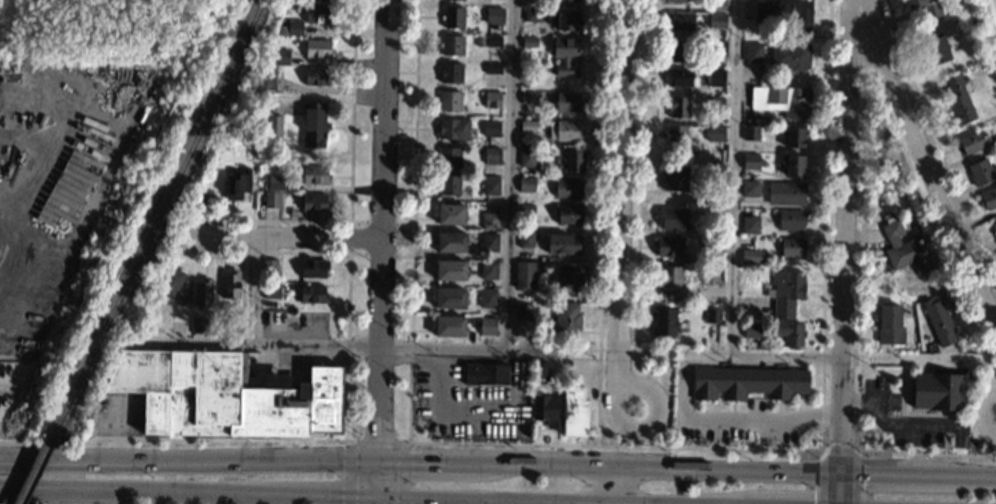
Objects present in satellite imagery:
building: (462, 0)
building: (570, 0)
building: (678, 1)
road: (514, 2)
building: (717, 5)
building: (298, 6)
building: (926, 7)
building: (319, 13)
building: (786, 13)
building: (533, 14)
building: (493, 15)
building: (453, 17)
building: (563, 18)
building: (717, 19)
building: (681, 20)
building: (295, 27)
road: (384, 36)
building: (493, 41)
building: (530, 42)
building: (940, 42)
building: (452, 45)
building: (318, 48)
building: (717, 48)
building: (679, 50)
building: (753, 52)
building: (565, 54)
building: (278, 56)
building: (790, 56)
building: (493, 67)
building: (450, 73)
building: (680, 76)
building: (318, 77)
building: (717, 77)
building: (265, 79)
building: (529, 98)
building: (492, 99)
building: (450, 100)
building: (782, 100)
building: (568, 102)
building: (716, 102)
building: (959, 102)
building: (678, 106)
building: (315, 124)
building: (274, 125)
building: (528, 125)
building: (491, 127)
building: (454, 128)
building: (566, 130)
building: (263, 131)
building: (751, 132)
building: (717, 133)
building: (676, 134)
building: (793, 136)
building: (973, 141)
building: (491, 154)
building: (449, 157)
building: (528, 157)
building: (574, 160)
building: (750, 161)
road: (928, 161)
building: (793, 164)
building: (980, 172)
building: (316, 174)
road: (509, 177)
building: (674, 177)
road: (734, 178)
building: (277, 183)
building: (237, 184)
building: (527, 184)
building: (448, 185)
building: (491, 185)
building: (568, 188)
building: (750, 188)
road: (350, 191)
road: (623, 192)
building: (786, 193)
building: (989, 198)
building: (272, 199)
building: (711, 199)
building: (204, 200)
building: (315, 203)
building: (526, 209)
building: (451, 214)
building: (569, 214)
building: (714, 214)
building: (886, 215)
building: (673, 218)
building: (791, 219)
building: (490, 220)
railway: (156, 221)
road: (366, 224)
building: (750, 224)
building: (994, 228)
road: (289, 236)
building: (526, 239)
building: (452, 241)
building: (490, 242)
building: (563, 244)
building: (711, 244)
building: (670, 246)
building: (792, 247)
building: (903, 249)
road: (845, 252)
building: (752, 256)
building: (270, 267)
road: (380, 267)
building: (313, 268)
building: (526, 269)
building: (450, 270)
building: (489, 270)
building: (710, 273)
building: (570, 277)
building: (671, 279)
building: (170, 282)
building: (231, 284)
road: (256, 289)
building: (272, 290)
building: (203, 292)
building: (786, 292)
building: (313, 294)
building: (450, 298)
building: (488, 298)
building: (185, 302)
building: (523, 311)
building: (713, 315)
building: (566, 319)
building: (665, 321)
building: (939, 321)
building: (199, 325)
building: (450, 325)
building: (488, 325)
building: (890, 326)
building: (752, 329)
building: (186, 330)
building: (238, 330)
building: (790, 333)
road: (323, 346)
road: (617, 346)
road: (820, 359)
road: (994, 366)
building: (541, 372)
building: (487, 374)
building: (747, 382)
building: (935, 389)
building: (205, 395)
road: (597, 396)
building: (325, 398)
building: (545, 410)
building: (574, 411)
road: (730, 422)
road: (894, 422)
road: (986, 424)
road: (653, 430)
road: (606, 433)
traffic signals: (378, 437)
road: (347, 438)
road: (377, 442)
traffic signals: (841, 443)
building: (886, 446)
road: (615, 447)
road: (839, 451)
road: (926, 452)
road: (34, 460)
traffic signals: (378, 463)
traffic signals: (412, 464)
road: (427, 464)
road: (34, 465)
road: (223, 465)
road: (574, 467)
railway: (33, 473)
road: (833, 473)
traffic signals: (840, 474)
traffic signals: (863, 474)
road: (377, 481)
road: (6, 486)
road: (613, 486)
road: (6, 488)
road: (312, 496)
traffic signals: (340, 497)
traffic signals: (377, 499)
road: (376, 501)
road: (20, 503)

